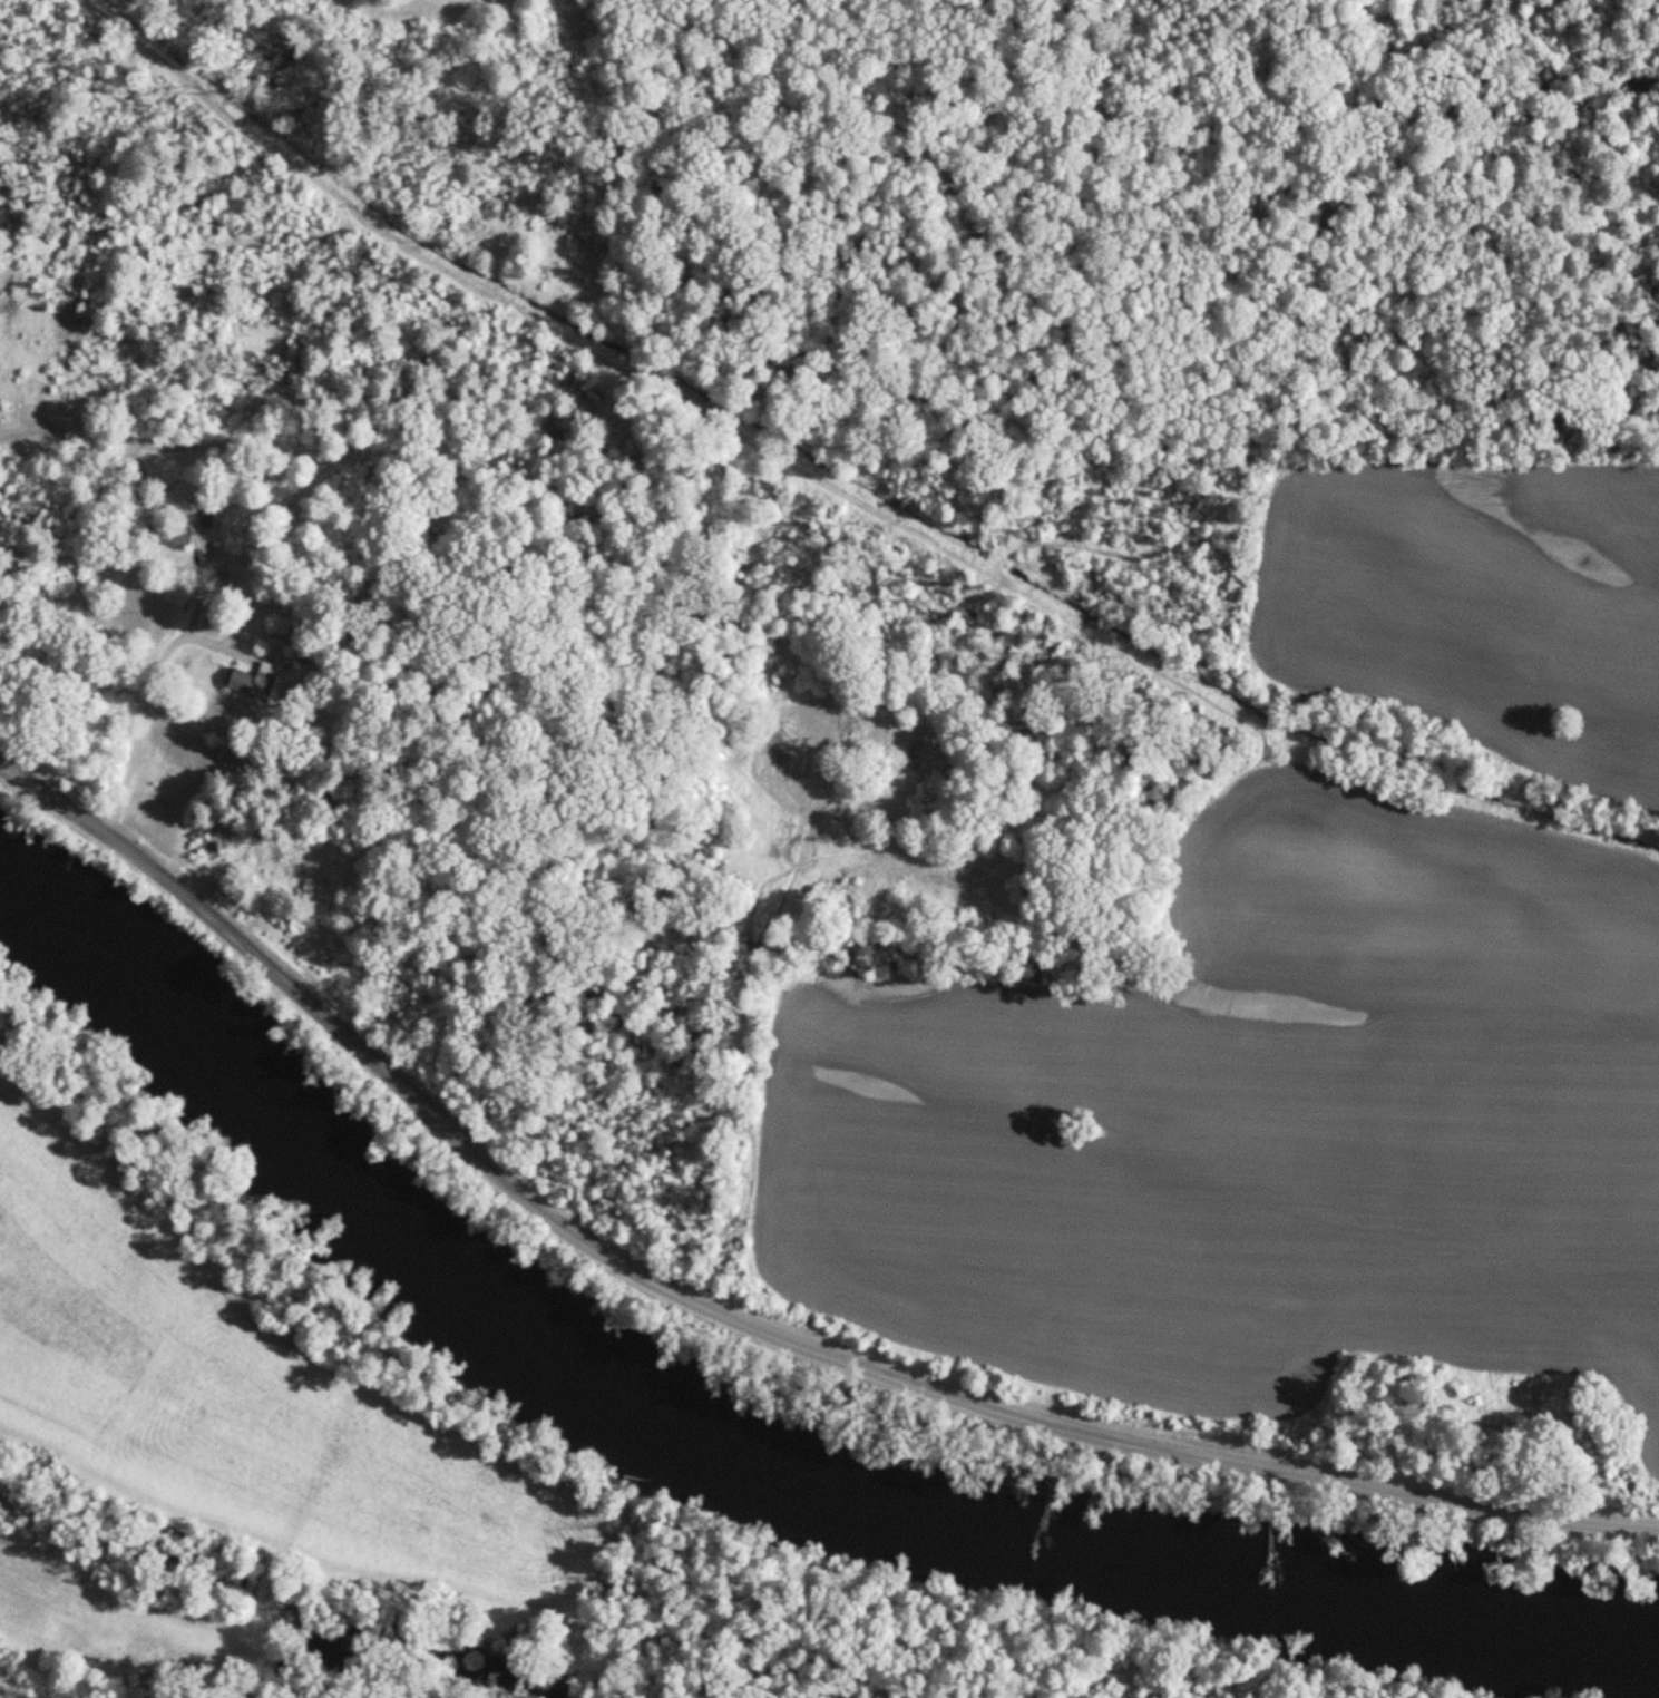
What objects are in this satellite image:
road: (517, 314)
building: (178, 537)
road: (933, 618)
building: (262, 683)
road: (137, 735)
road: (746, 1325)
river: (735, 1464)
road: (579, 1519)

